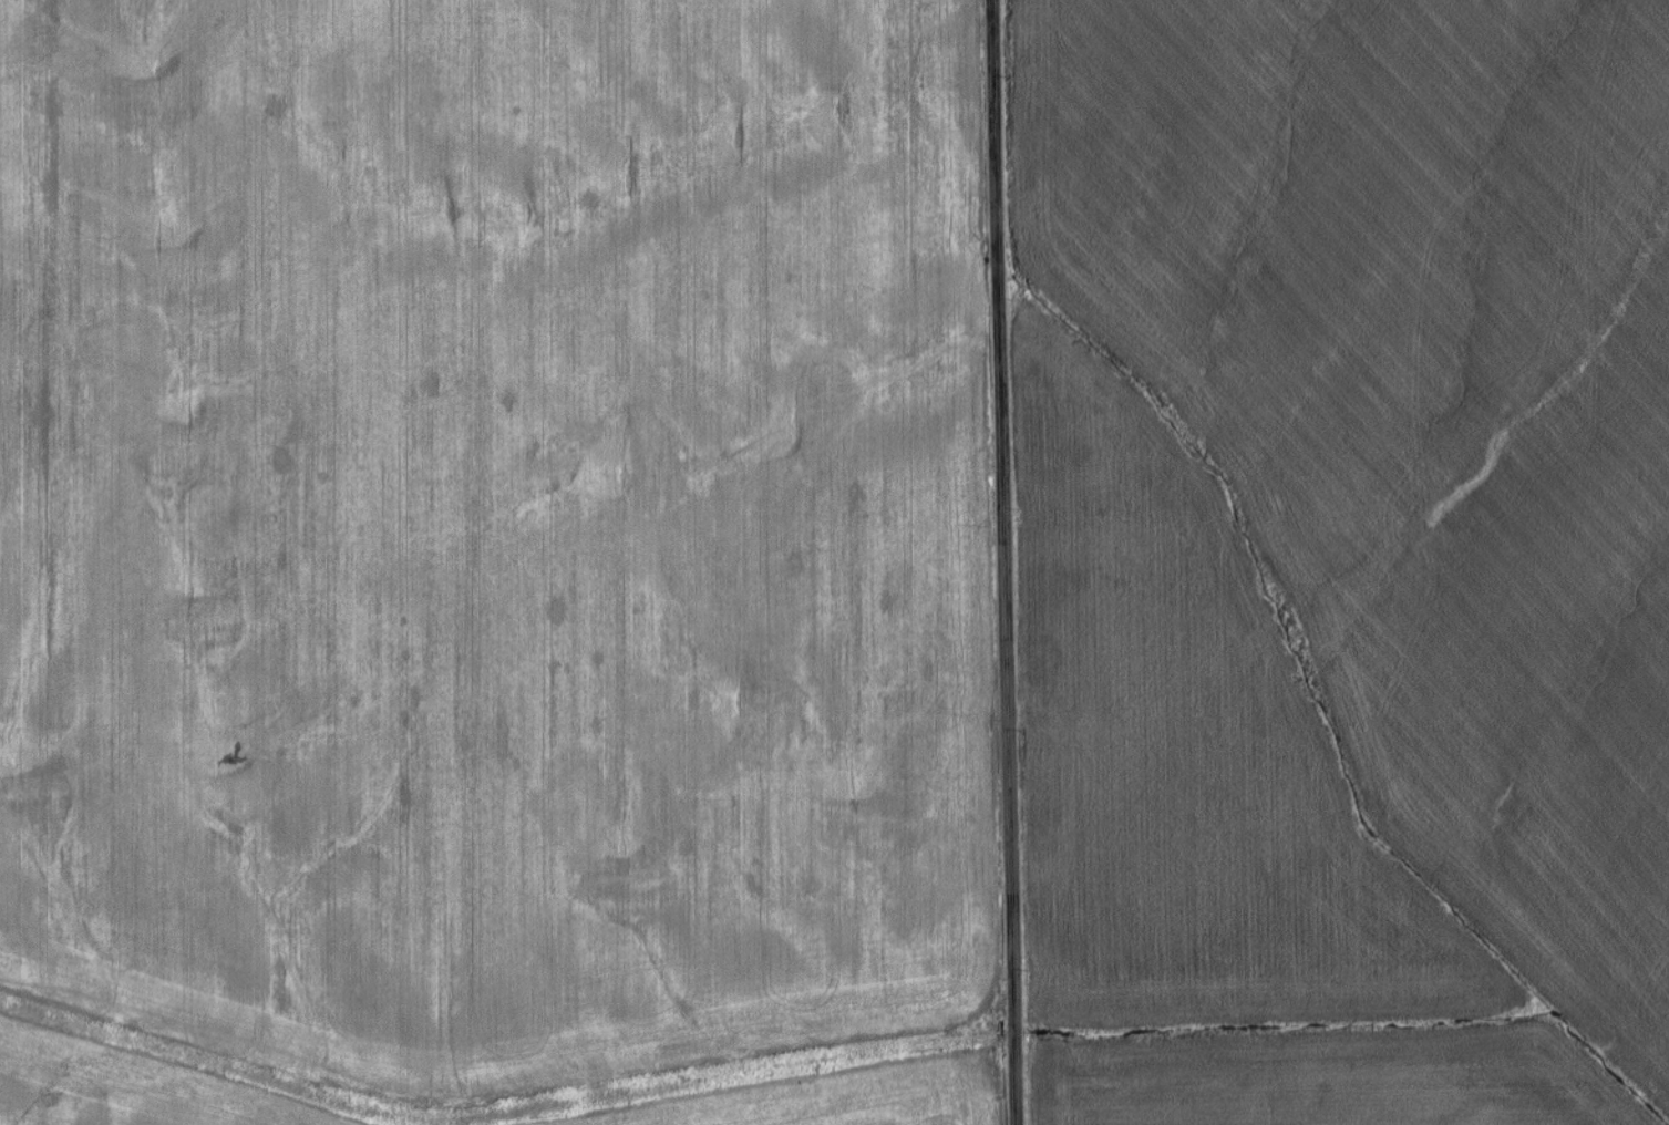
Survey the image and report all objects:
road: (1008, 561)

